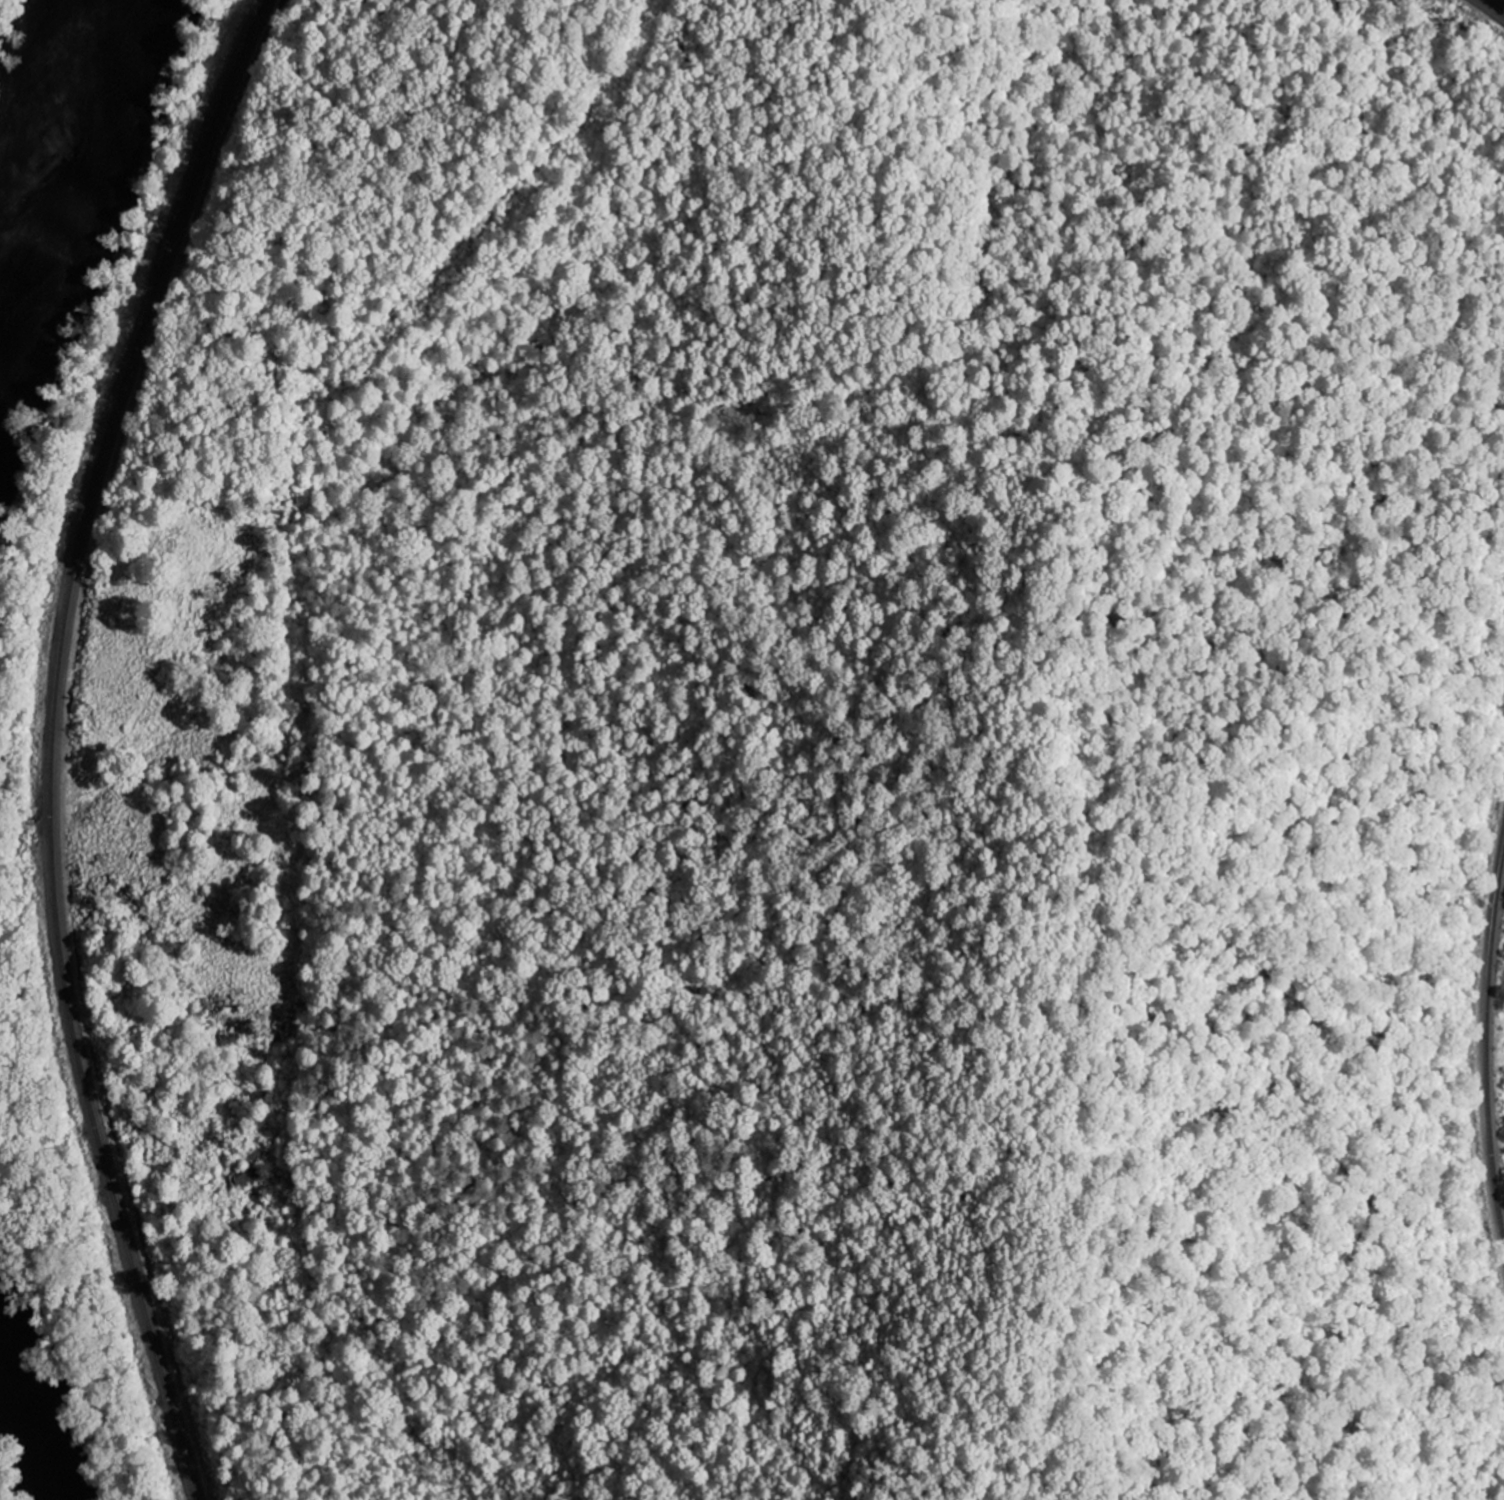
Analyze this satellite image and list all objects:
railway: (1493, 8)
river: (82, 177)
railway: (51, 742)
railway: (1487, 1044)
river: (37, 1408)

